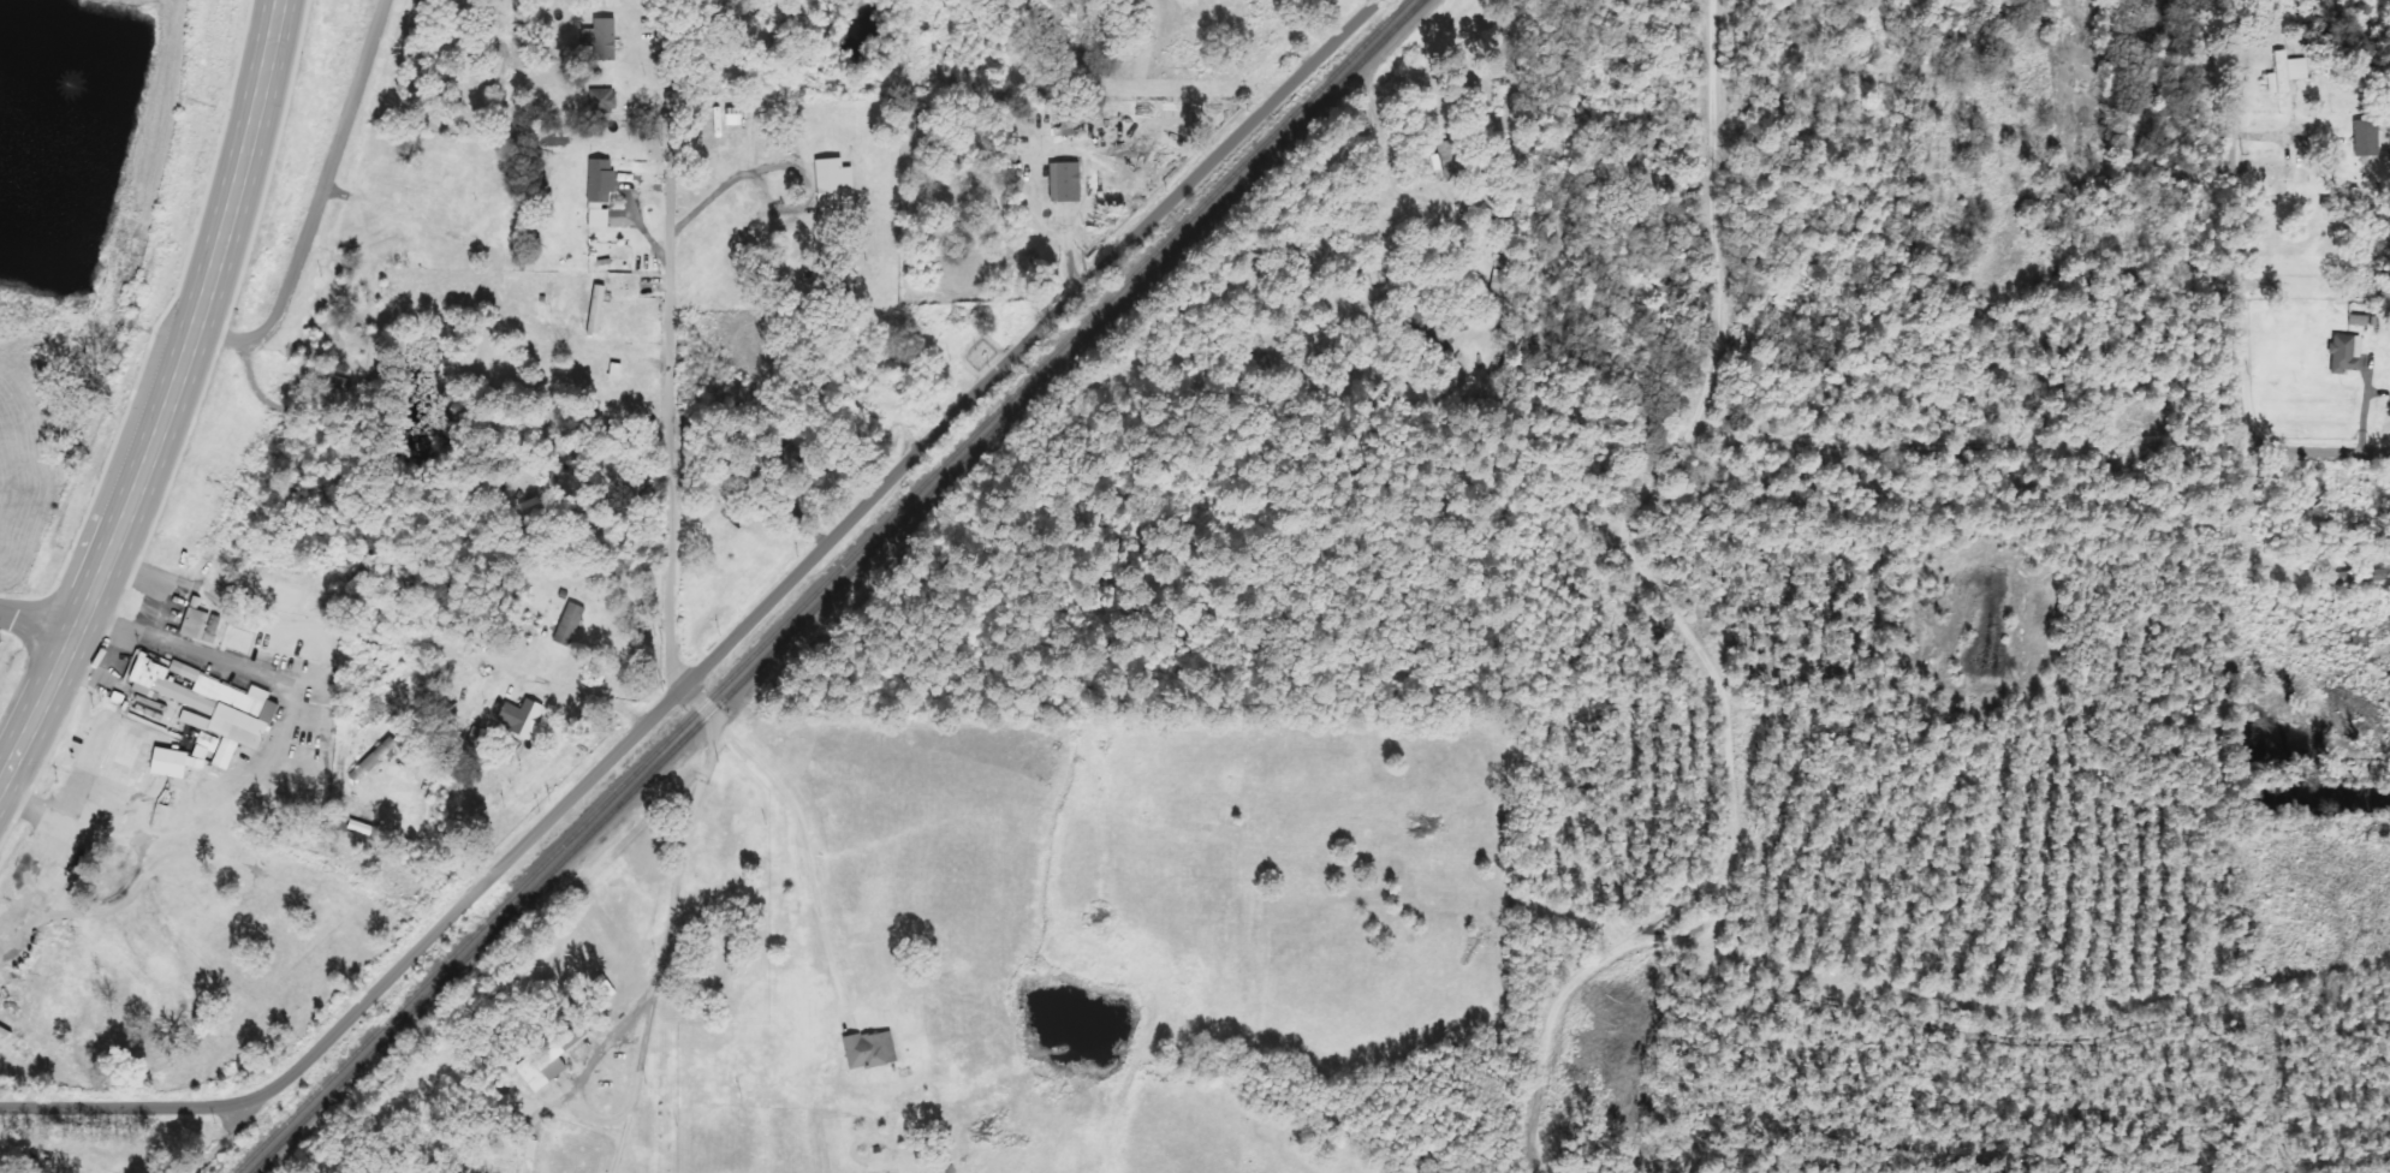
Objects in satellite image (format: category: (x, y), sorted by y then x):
building: (597, 38)
building: (2283, 72)
building: (600, 100)
building: (2364, 138)
road: (1206, 163)
building: (1064, 183)
road: (718, 184)
building: (827, 187)
building: (597, 192)
road: (2239, 219)
building: (594, 311)
building: (2356, 318)
building: (2343, 352)
building: (613, 371)
road: (178, 409)
road: (2320, 449)
building: (2373, 574)
railway: (822, 586)
railway: (837, 586)
road: (662, 608)
road: (41, 620)
building: (191, 624)
building: (566, 624)
building: (207, 707)
building: (518, 716)
building: (166, 762)
road: (559, 809)
building: (867, 1049)
building: (546, 1058)
building: (493, 1103)
building: (527, 1149)

